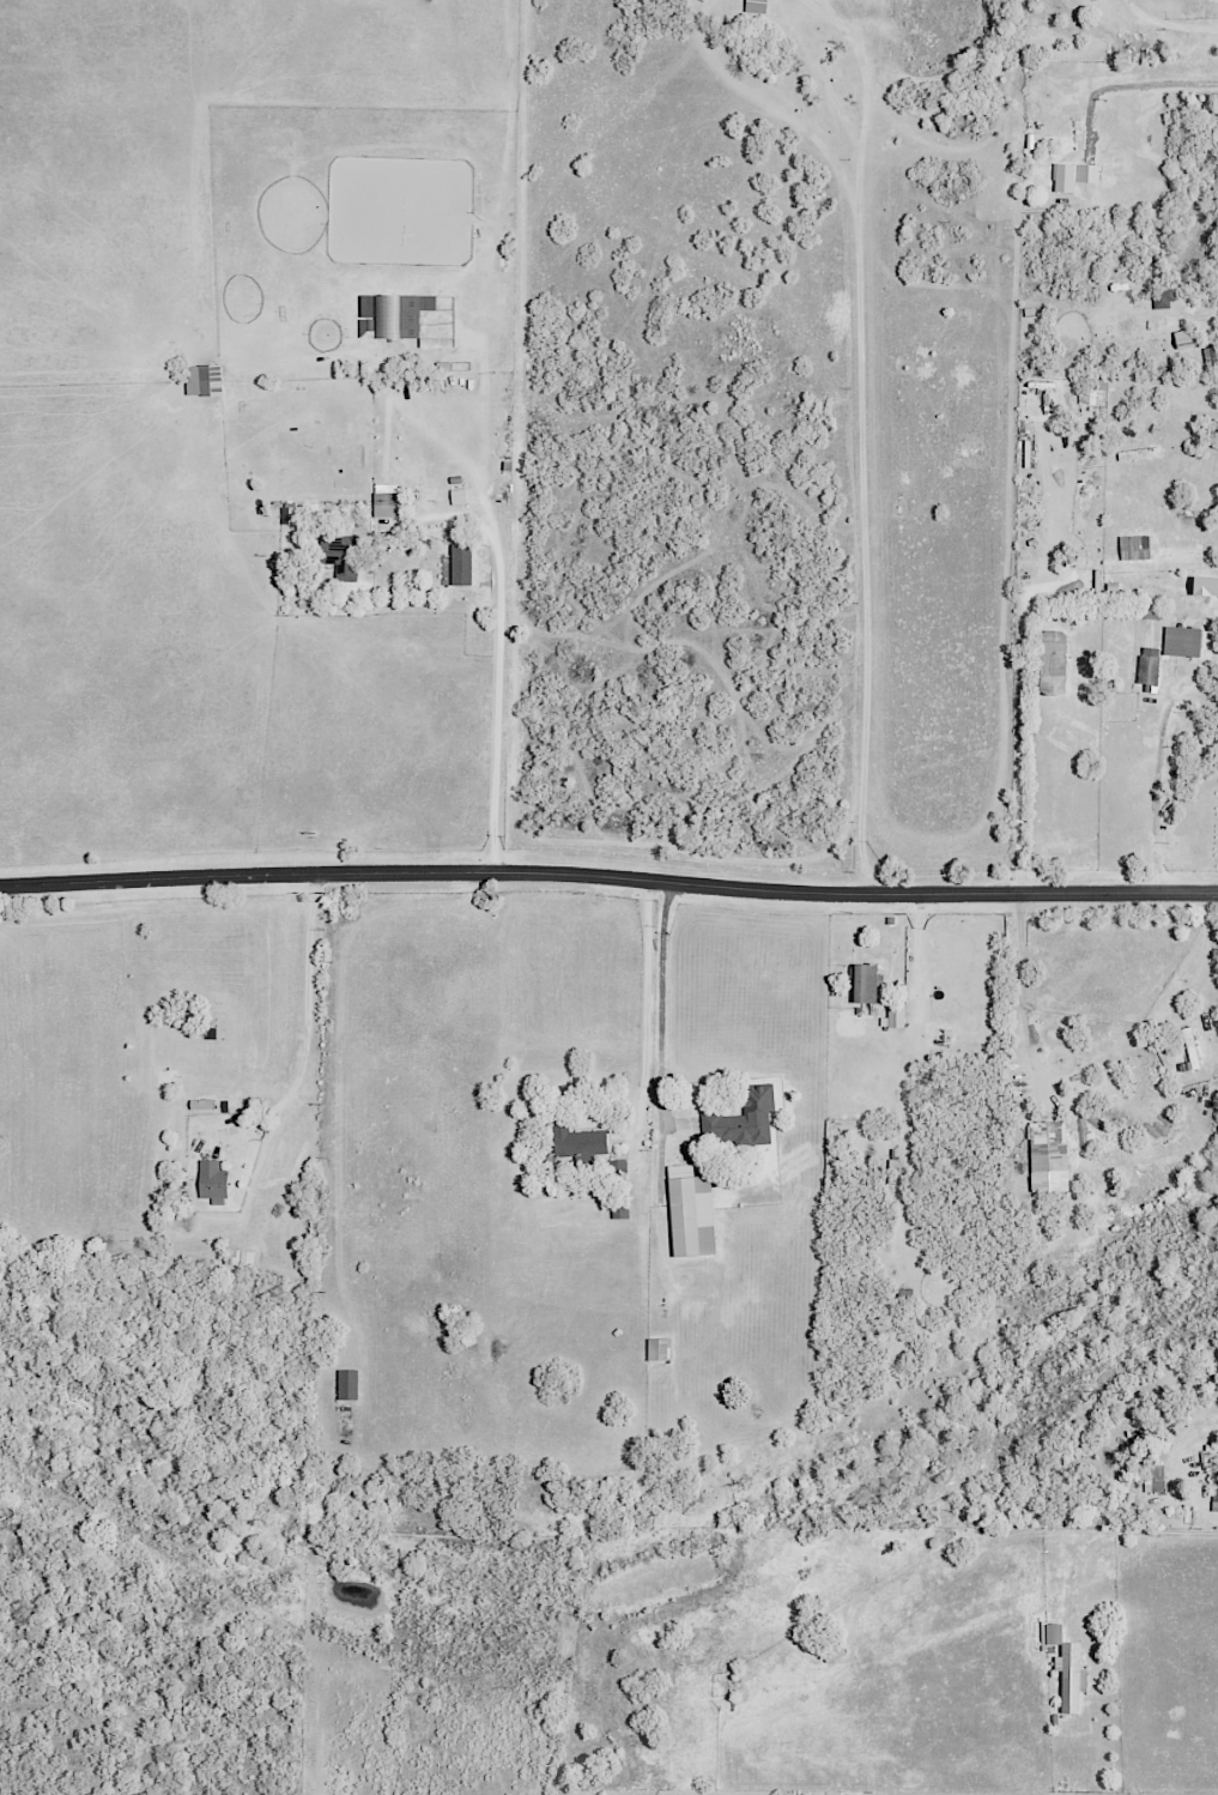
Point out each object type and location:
road: (1165, 30)
road: (1138, 91)
building: (1073, 176)
building: (1162, 298)
building: (201, 380)
road: (1171, 433)
road: (863, 435)
building: (386, 501)
building: (1133, 548)
building: (341, 555)
building: (457, 564)
building: (1204, 587)
building: (1151, 605)
building: (1181, 641)
building: (1050, 663)
building: (1147, 669)
road: (497, 681)
road: (1018, 747)
road: (1156, 787)
road: (608, 881)
building: (863, 981)
road: (1023, 981)
road: (643, 1007)
road: (658, 1009)
road: (302, 1032)
building: (577, 1142)
building: (1047, 1146)
building: (211, 1181)
building: (619, 1208)
building: (689, 1211)
building: (658, 1349)
building: (347, 1383)
building: (1210, 1459)
building: (1153, 1480)
building: (1214, 1499)
road: (1121, 1534)
building: (1049, 1634)
building: (1069, 1676)

